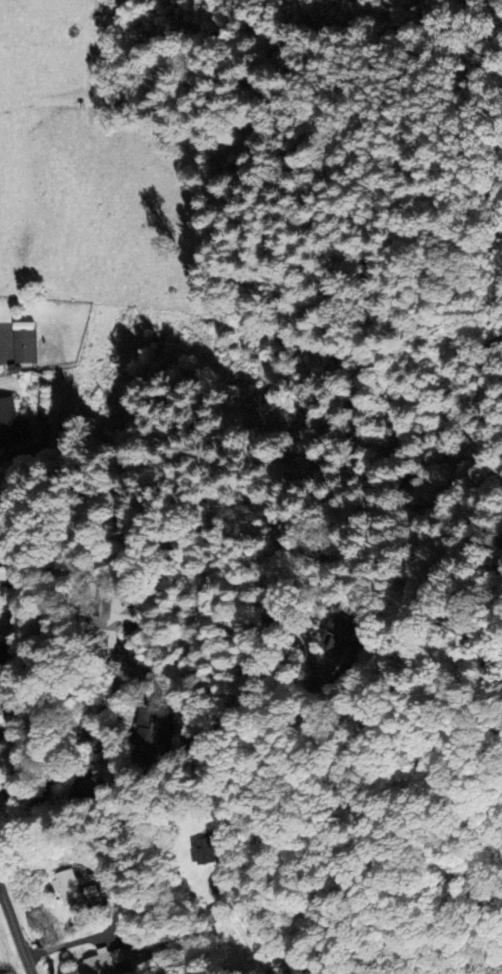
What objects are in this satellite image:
building: (24, 341)
road: (3, 344)
building: (12, 423)
building: (112, 619)
building: (338, 637)
building: (10, 651)
road: (185, 694)
building: (8, 698)
building: (152, 735)
building: (9, 761)
building: (104, 778)
building: (205, 850)
building: (67, 887)
building: (214, 914)
road: (225, 917)
road: (15, 932)
road: (300, 969)

